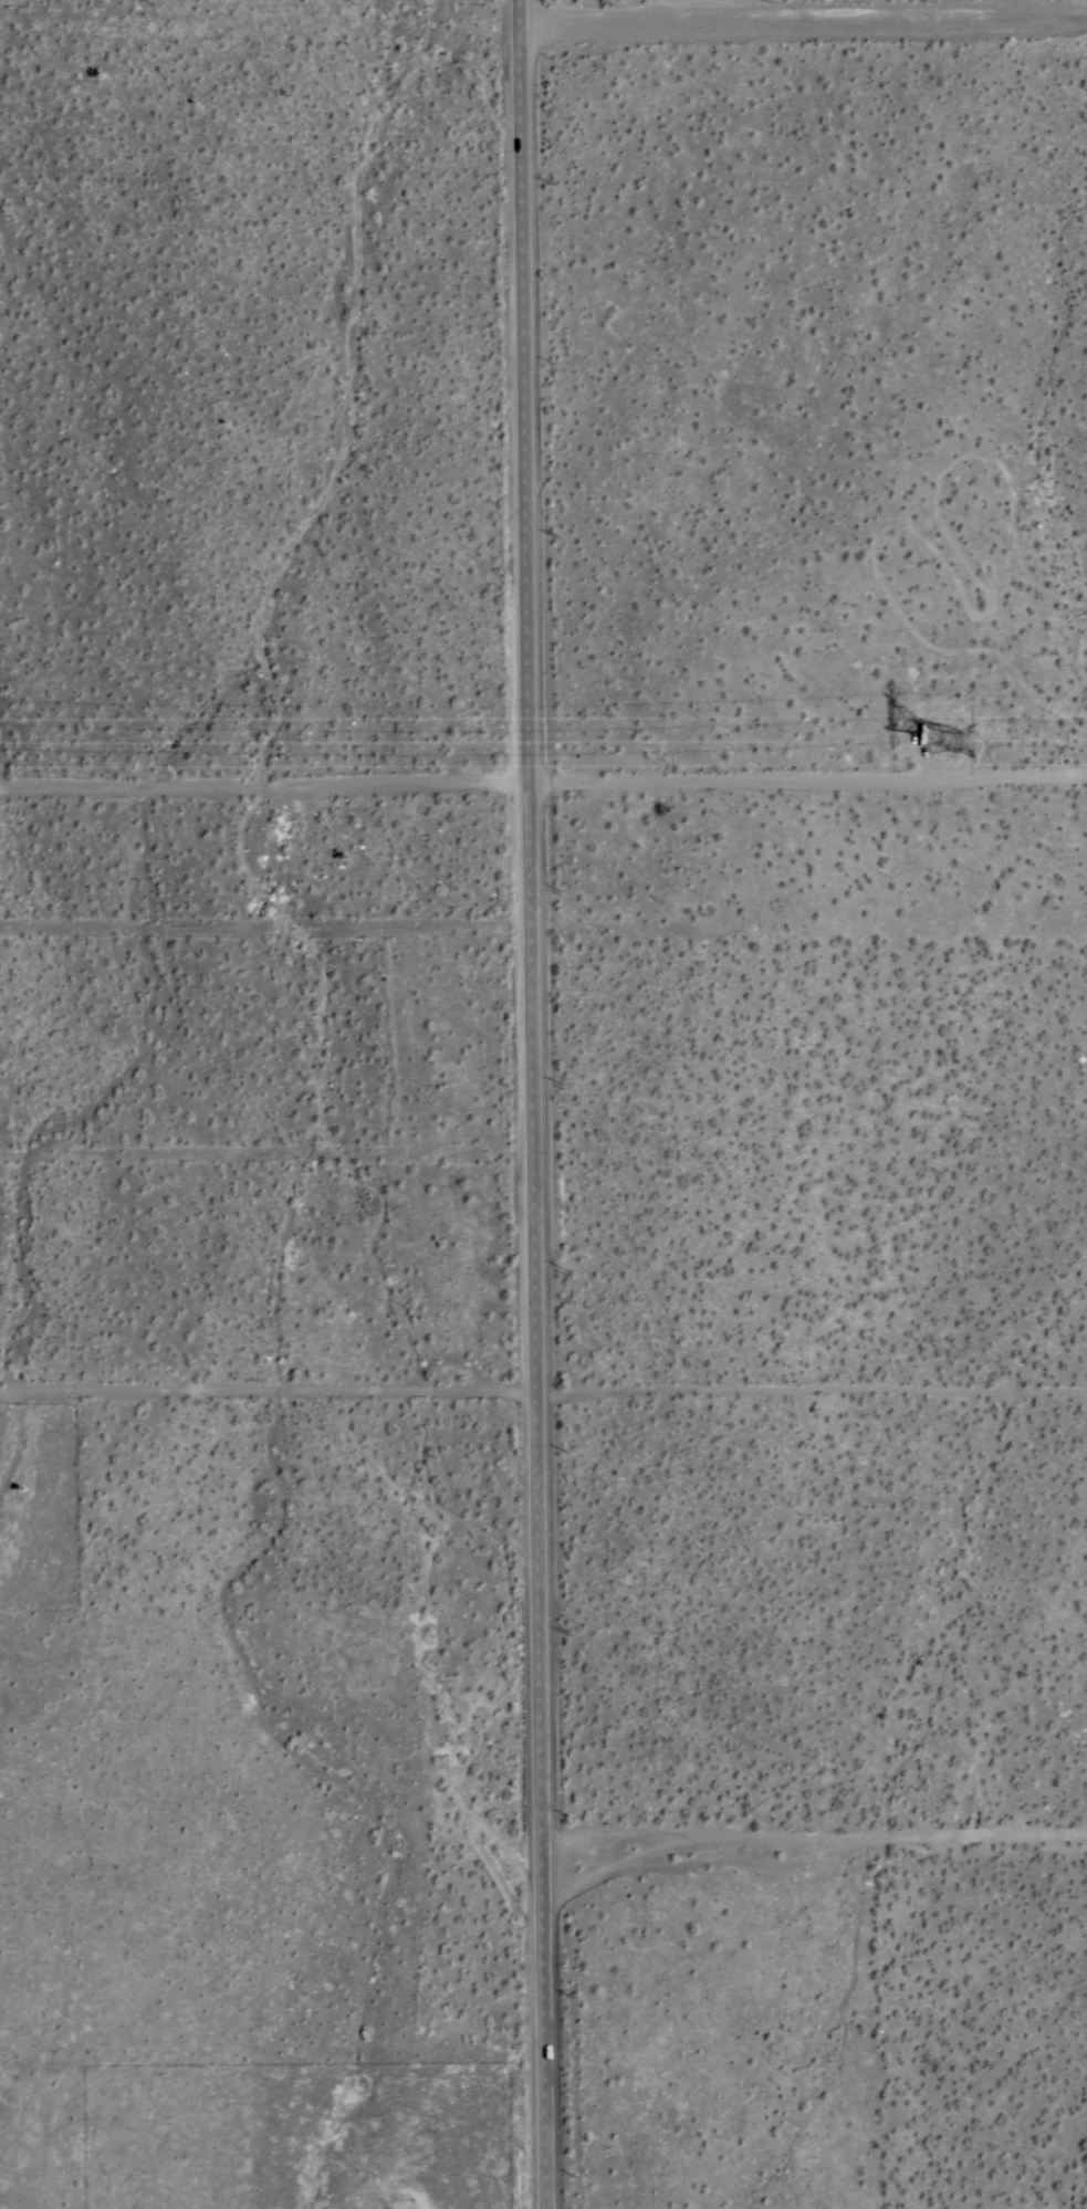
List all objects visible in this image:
road: (811, 35)
power tower: (952, 744)
road: (811, 788)
road: (266, 791)
road: (534, 1104)
road: (809, 1386)
road: (266, 1395)
road: (819, 1838)

